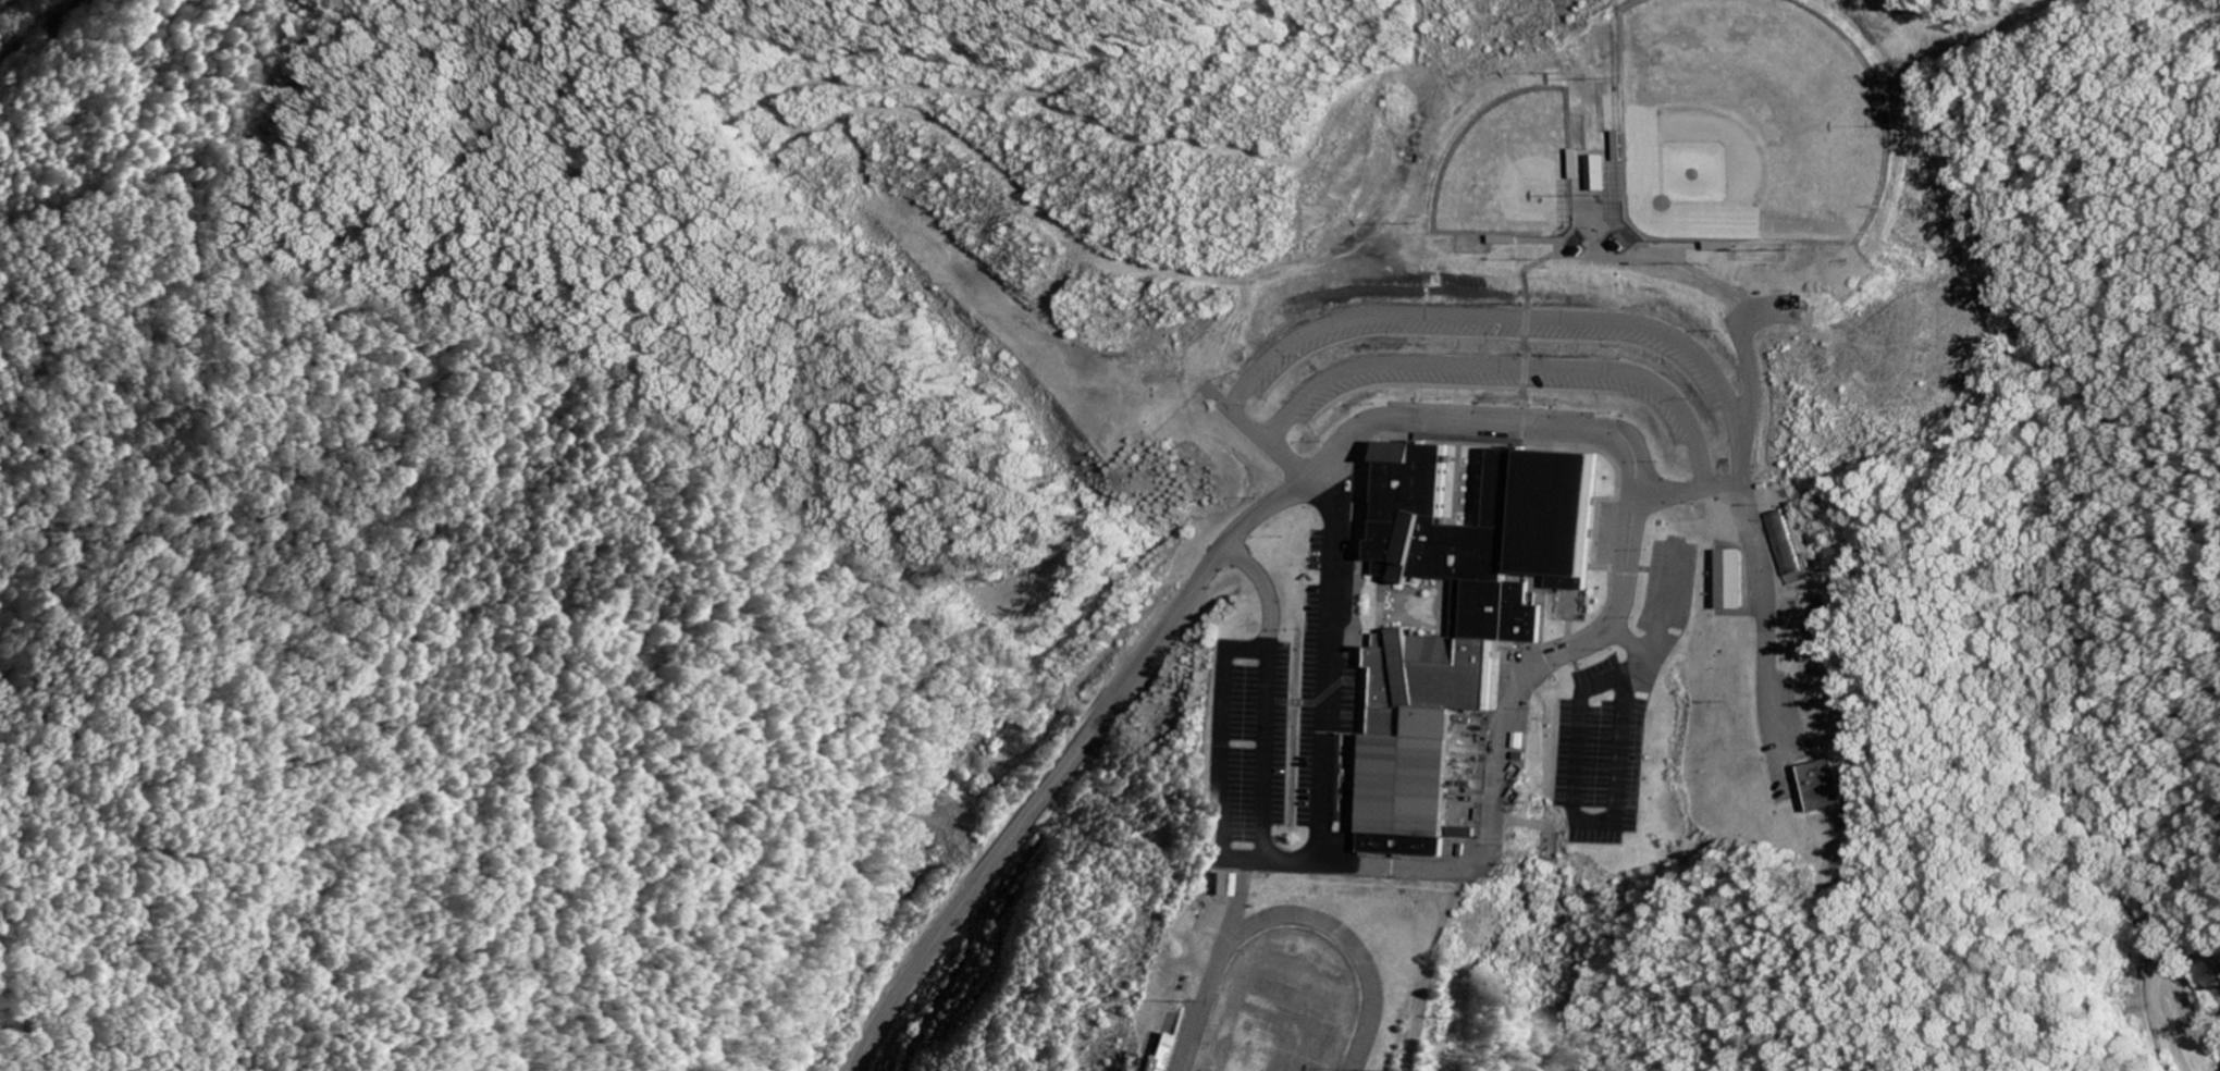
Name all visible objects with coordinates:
road: (1904, 126)
building: (1613, 174)
road: (1452, 318)
parking lot: (1472, 346)
road: (1514, 369)
road: (1750, 432)
building: (1792, 562)
building: (1736, 581)
parking lot: (1676, 596)
road: (1667, 601)
road: (1769, 624)
road: (1510, 726)
road: (1269, 728)
parking lot: (1279, 751)
road: (1229, 754)
parking lot: (1607, 758)
road: (1070, 767)
road: (1586, 787)
building: (1828, 788)
building: (1467, 835)
building: (1226, 886)
road: (1429, 968)
road: (2154, 988)
track: (1282, 1001)
park: (1274, 1027)

